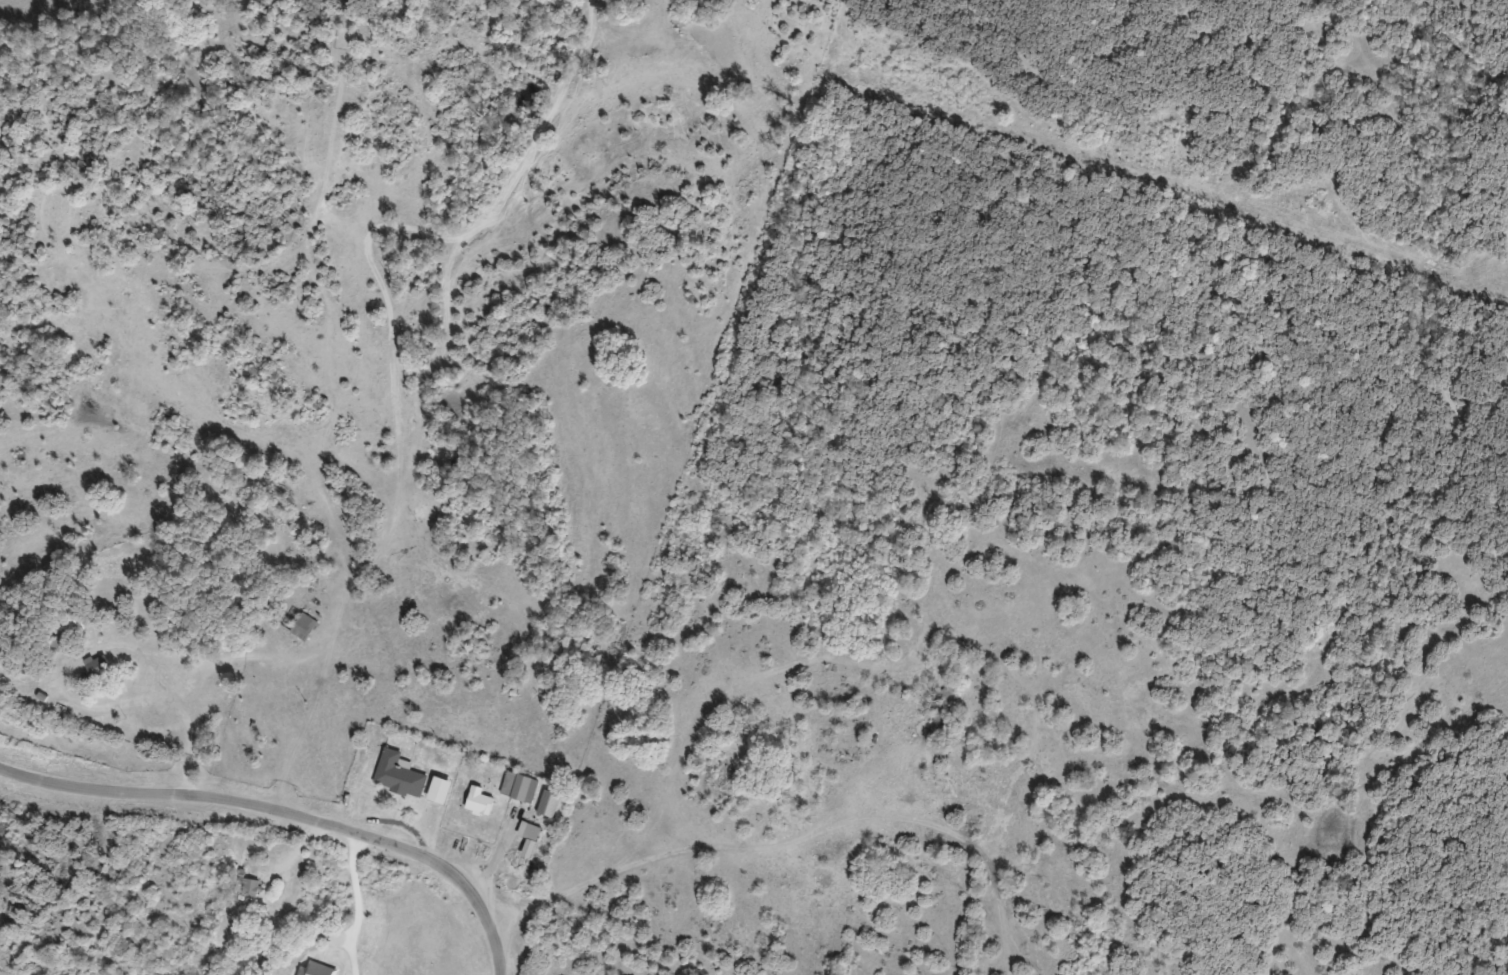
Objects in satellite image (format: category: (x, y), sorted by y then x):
building: (301, 626)
building: (97, 664)
building: (942, 698)
building: (397, 774)
building: (518, 786)
building: (440, 789)
building: (479, 801)
building: (547, 802)
road: (283, 818)
building: (531, 831)
building: (251, 887)

